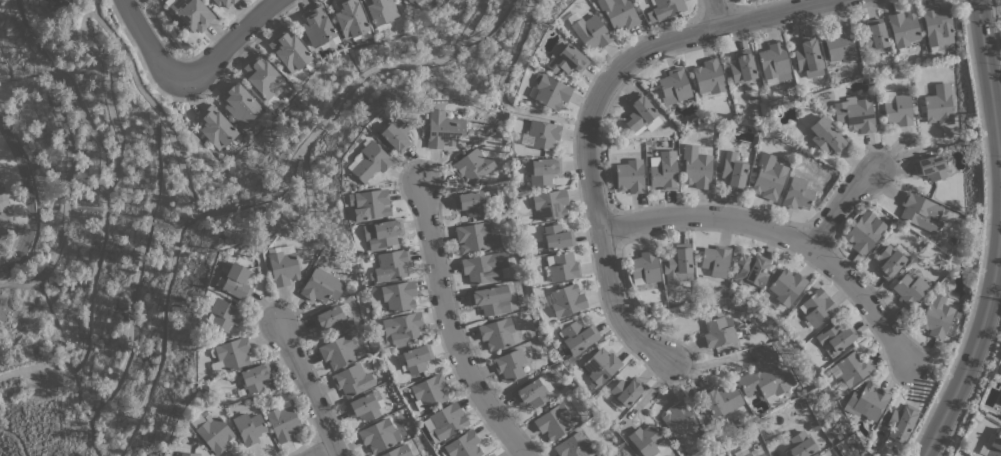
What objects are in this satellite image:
building: (50, 0)
building: (58, 0)
building: (409, 1)
building: (415, 1)
building: (223, 2)
road: (93, 6)
building: (666, 8)
building: (190, 13)
building: (381, 13)
building: (617, 13)
road: (714, 14)
building: (350, 19)
road: (100, 23)
building: (316, 25)
building: (936, 25)
road: (489, 27)
building: (902, 28)
building: (591, 32)
road: (995, 37)
building: (874, 38)
road: (228, 42)
building: (839, 44)
road: (148, 45)
building: (289, 50)
building: (807, 57)
building: (565, 58)
building: (774, 63)
building: (741, 67)
building: (708, 76)
building: (264, 78)
building: (673, 86)
road: (499, 91)
building: (550, 92)
building: (240, 104)
building: (939, 104)
building: (896, 108)
building: (854, 113)
building: (641, 115)
road: (587, 117)
building: (215, 127)
building: (442, 129)
road: (998, 131)
building: (542, 133)
building: (394, 134)
building: (825, 136)
building: (367, 160)
building: (473, 165)
building: (695, 167)
building: (930, 167)
building: (662, 170)
building: (732, 171)
building: (541, 172)
building: (629, 176)
building: (768, 176)
building: (796, 193)
road: (27, 199)
building: (368, 203)
building: (549, 203)
building: (469, 204)
road: (839, 206)
building: (920, 212)
road: (273, 226)
building: (864, 231)
building: (381, 233)
road: (984, 234)
road: (997, 234)
road: (779, 235)
building: (473, 236)
building: (556, 236)
building: (714, 261)
building: (888, 261)
building: (282, 264)
building: (677, 264)
building: (390, 265)
building: (561, 266)
building: (644, 266)
building: (483, 267)
building: (750, 269)
building: (233, 280)
building: (321, 285)
building: (786, 286)
building: (909, 288)
building: (398, 295)
building: (490, 299)
building: (566, 300)
building: (815, 308)
building: (223, 314)
building: (936, 316)
building: (329, 320)
road: (448, 326)
building: (401, 328)
building: (496, 333)
building: (718, 333)
building: (577, 335)
building: (835, 337)
building: (337, 351)
building: (229, 354)
building: (414, 358)
building: (512, 363)
building: (600, 365)
building: (849, 369)
building: (254, 377)
building: (351, 380)
building: (763, 380)
road: (973, 380)
road: (306, 387)
building: (427, 391)
building: (533, 391)
building: (624, 392)
building: (720, 399)
building: (865, 401)
building: (1000, 402)
building: (364, 406)
road: (697, 410)
building: (282, 420)
building: (553, 421)
building: (444, 422)
building: (679, 423)
building: (897, 425)
building: (248, 427)
building: (212, 430)
building: (378, 435)
building: (644, 440)
building: (800, 444)
building: (994, 444)
building: (463, 445)
building: (571, 445)
road: (324, 451)
building: (397, 451)
building: (748, 452)
building: (187, 454)
building: (489, 455)

